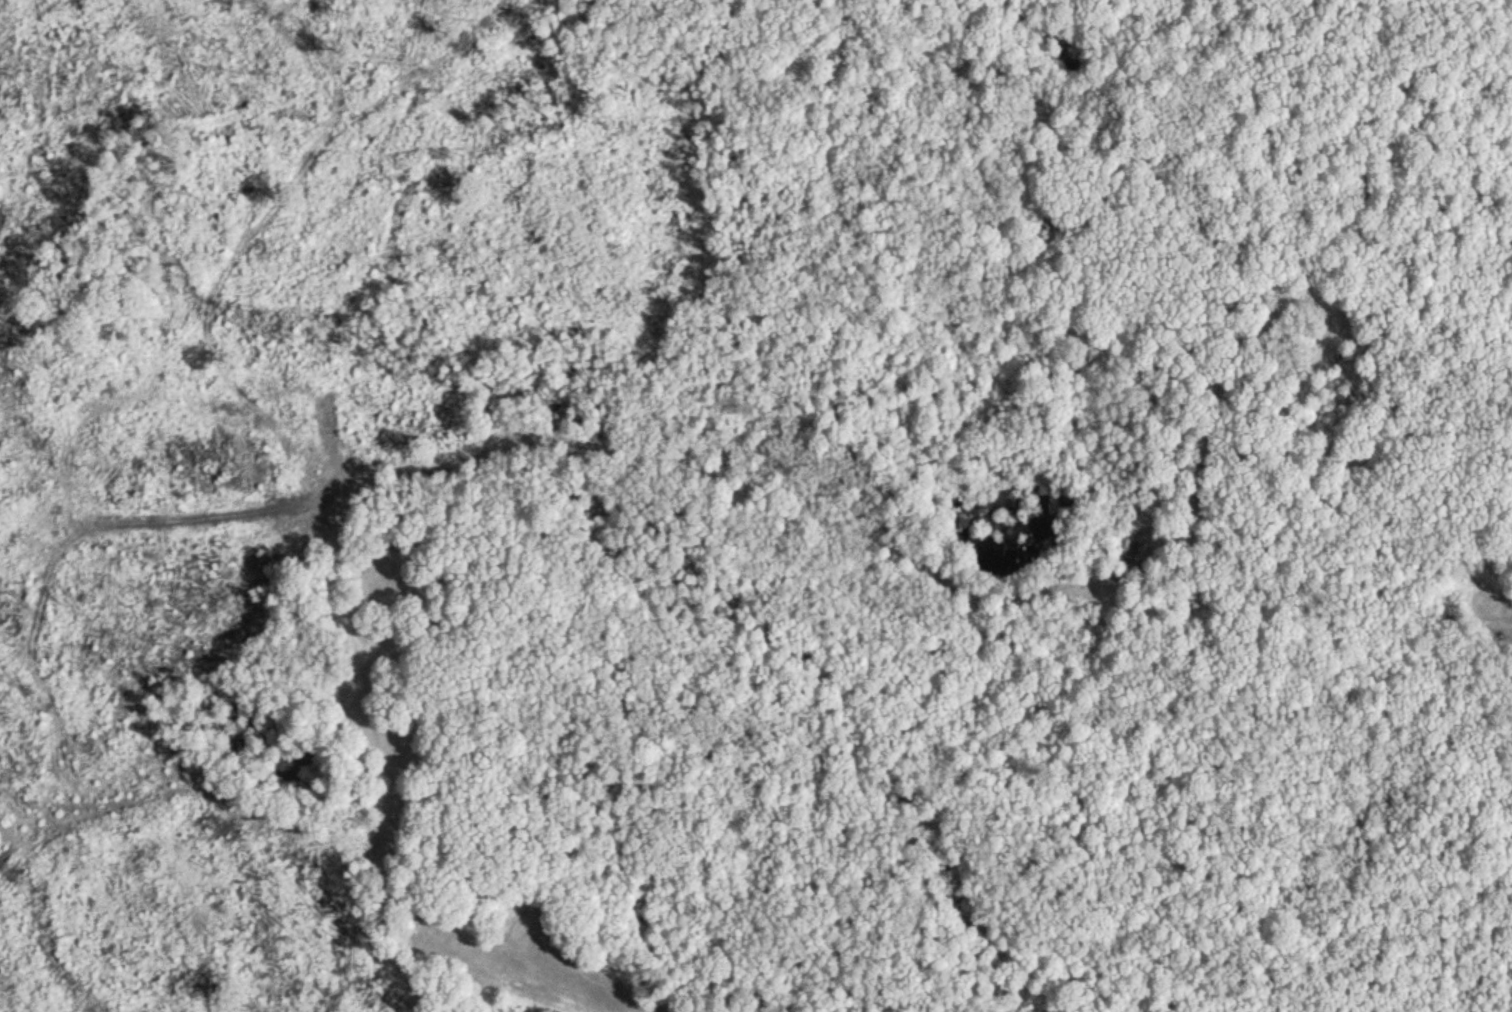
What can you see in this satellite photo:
road: (1486, 561)

